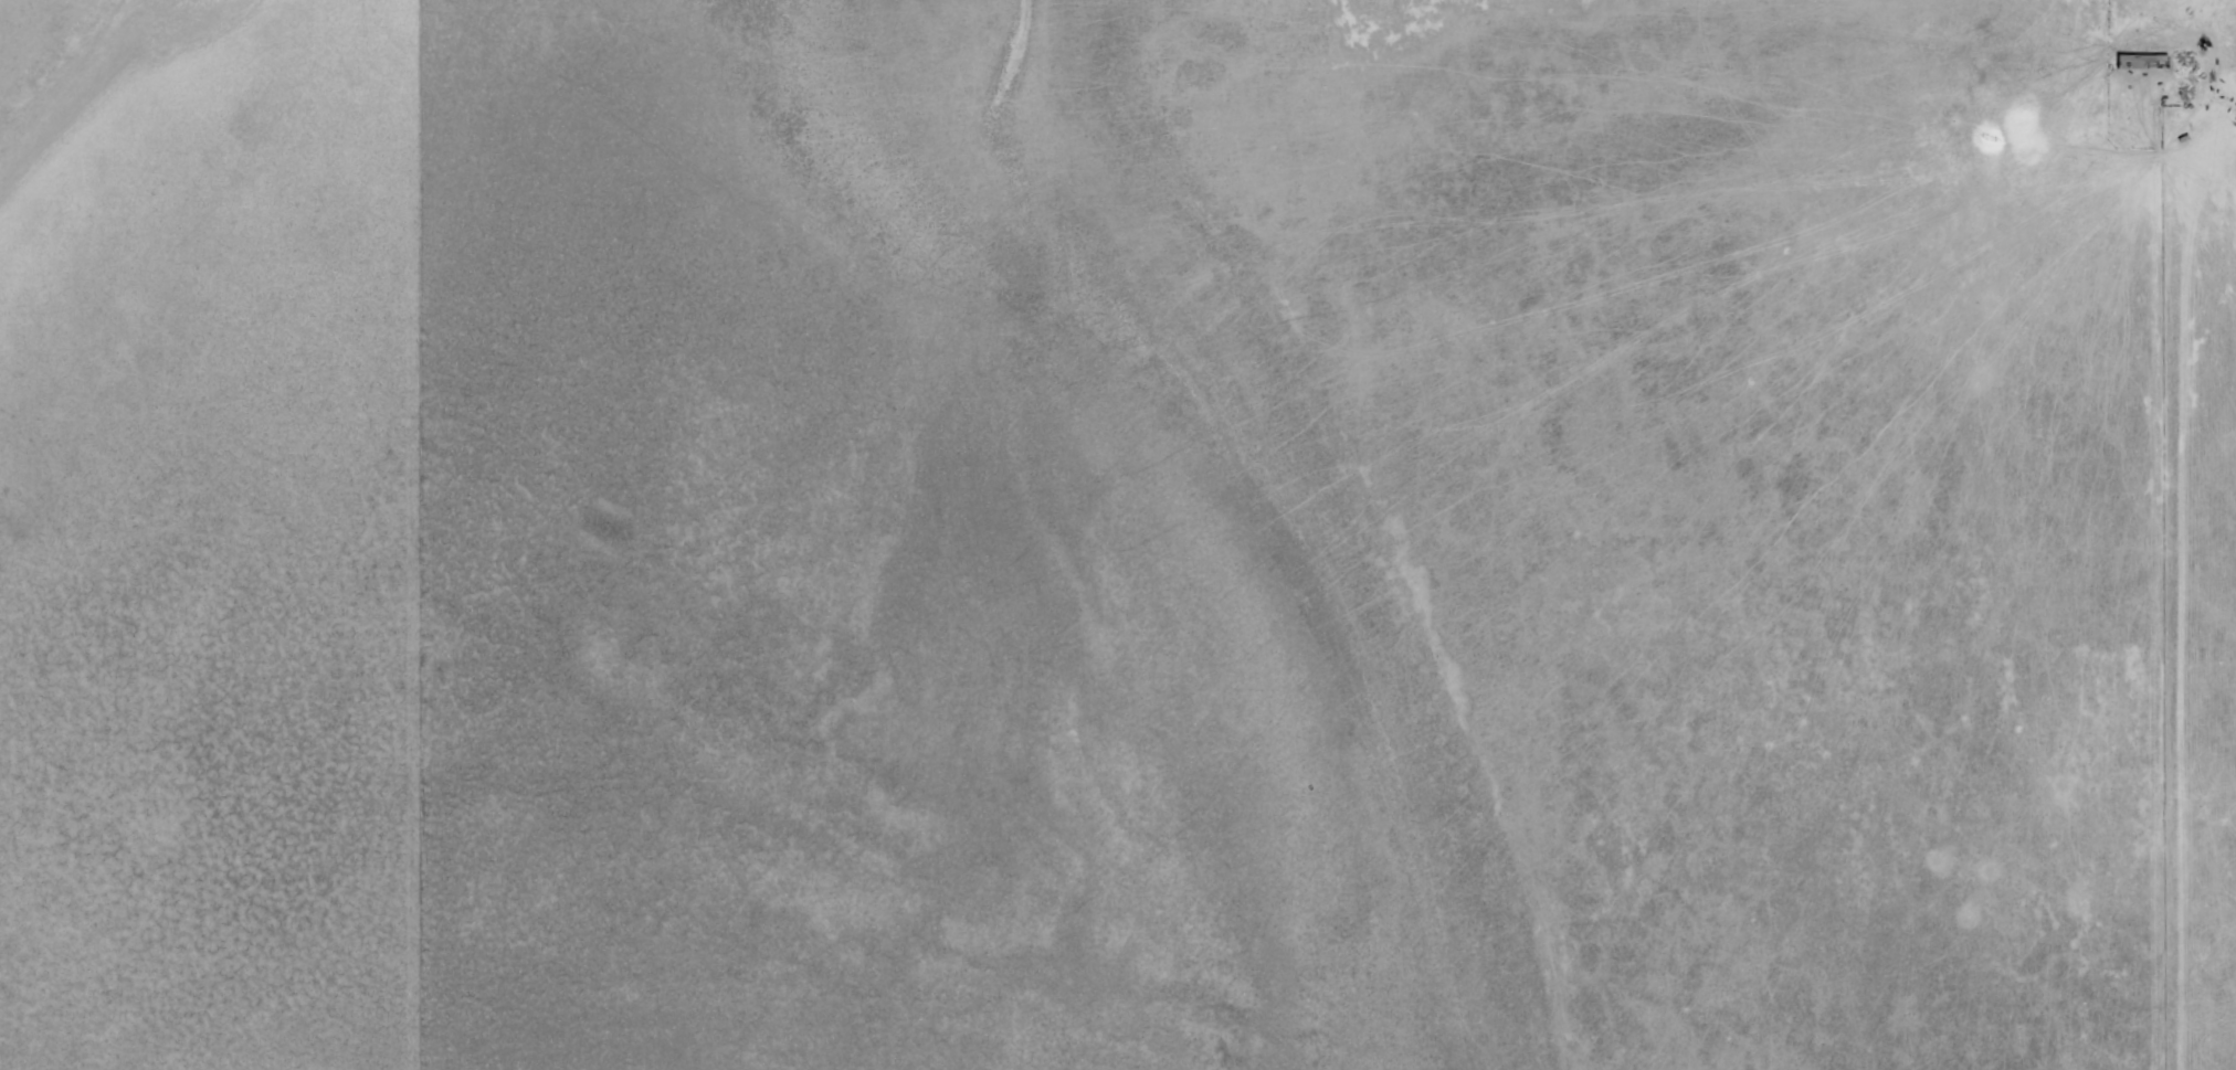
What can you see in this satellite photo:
building: (2132, 61)

